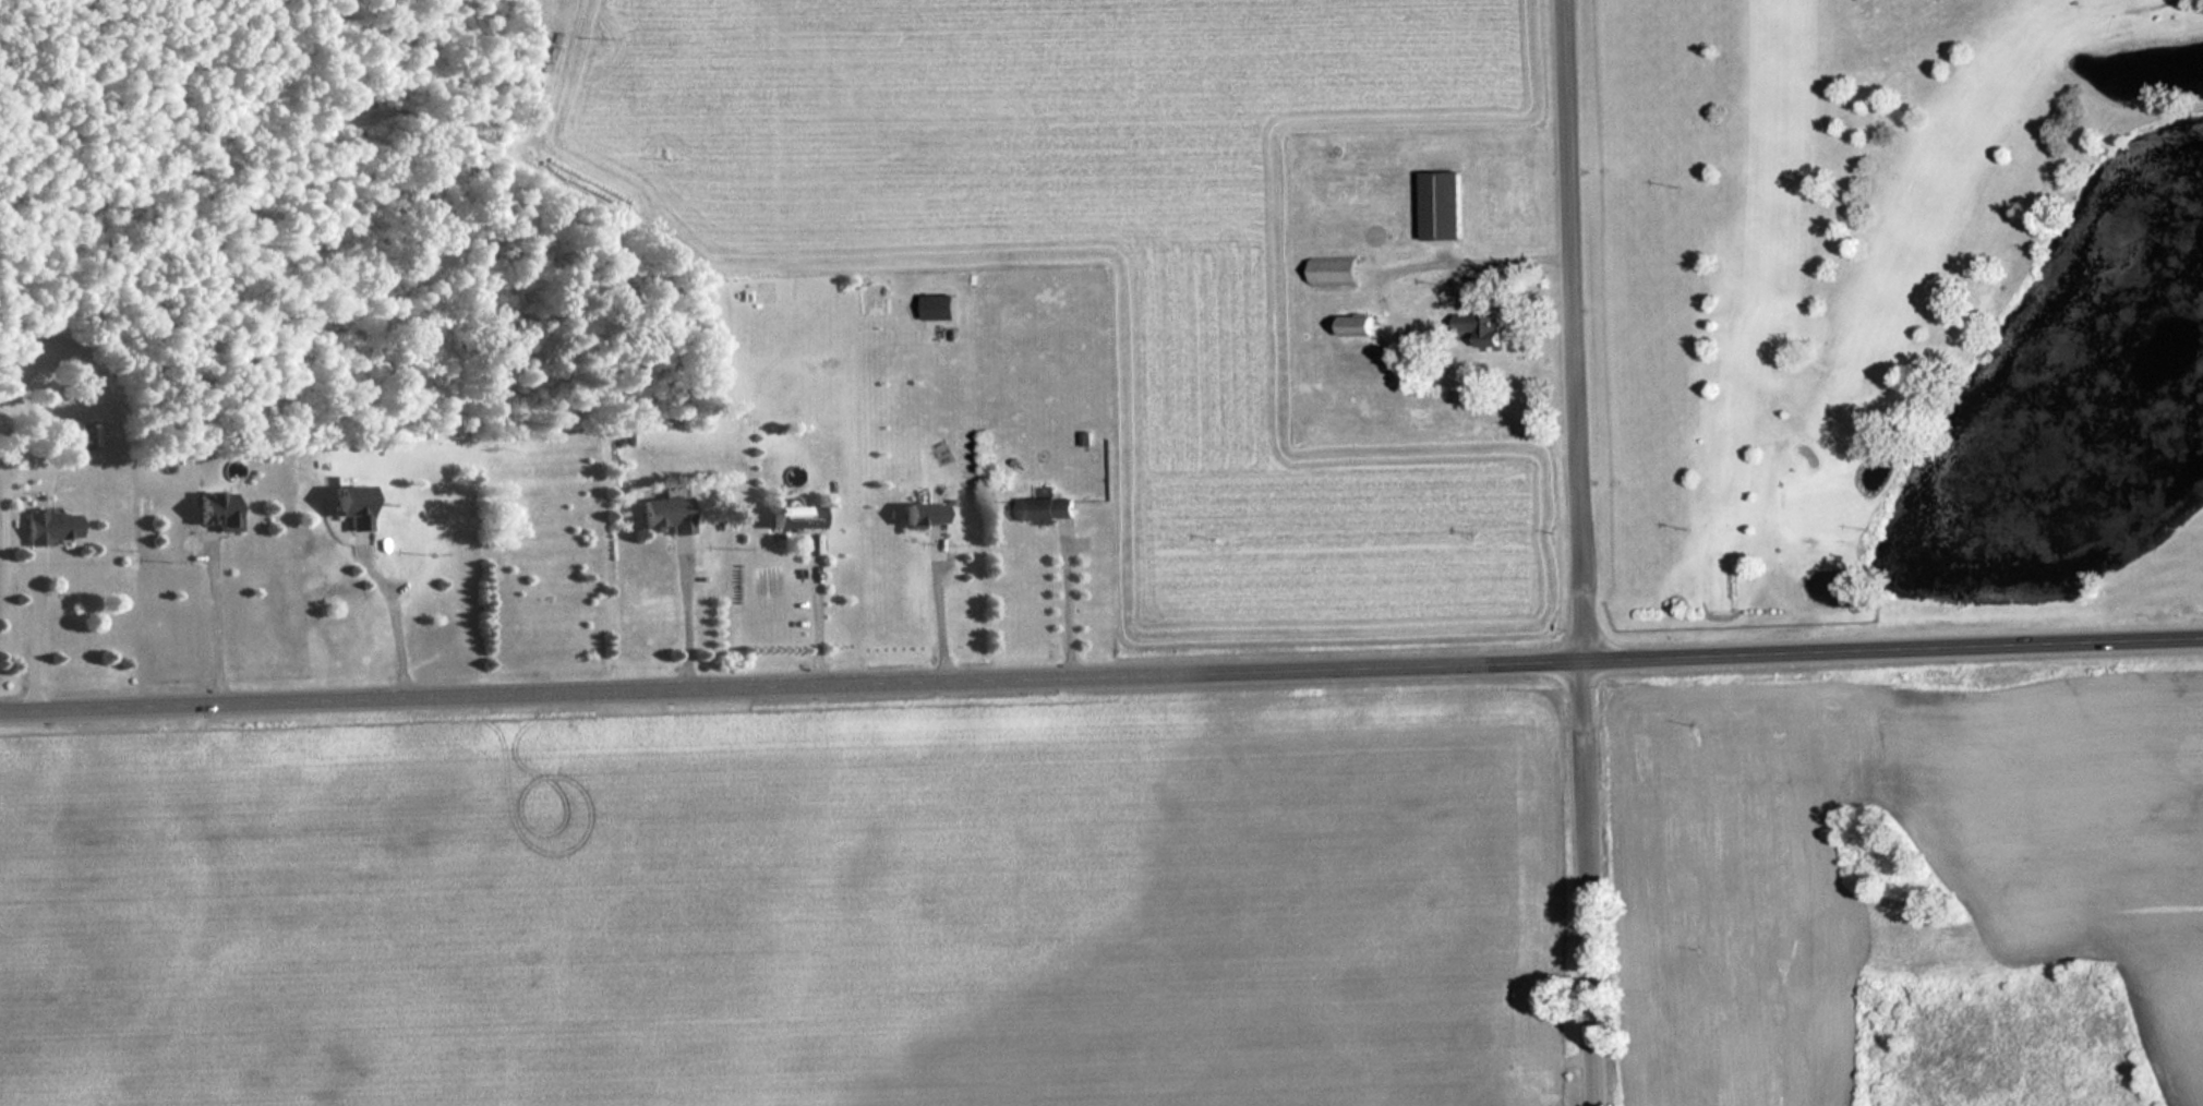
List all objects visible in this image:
building: (1445, 204)
building: (1336, 272)
park: (1902, 311)
building: (1362, 325)
building: (1484, 328)
building: (74, 436)
building: (357, 505)
building: (220, 509)
building: (1047, 509)
building: (669, 513)
building: (928, 513)
building: (799, 516)
building: (52, 526)
road: (1580, 552)
road: (1101, 672)

